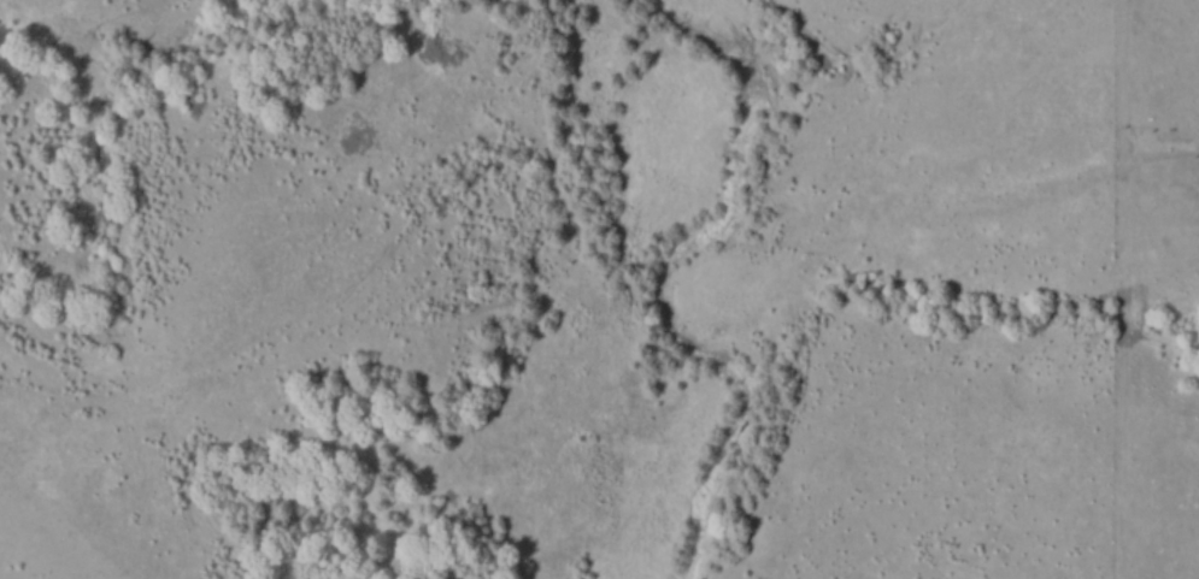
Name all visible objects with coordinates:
river: (662, 272)

